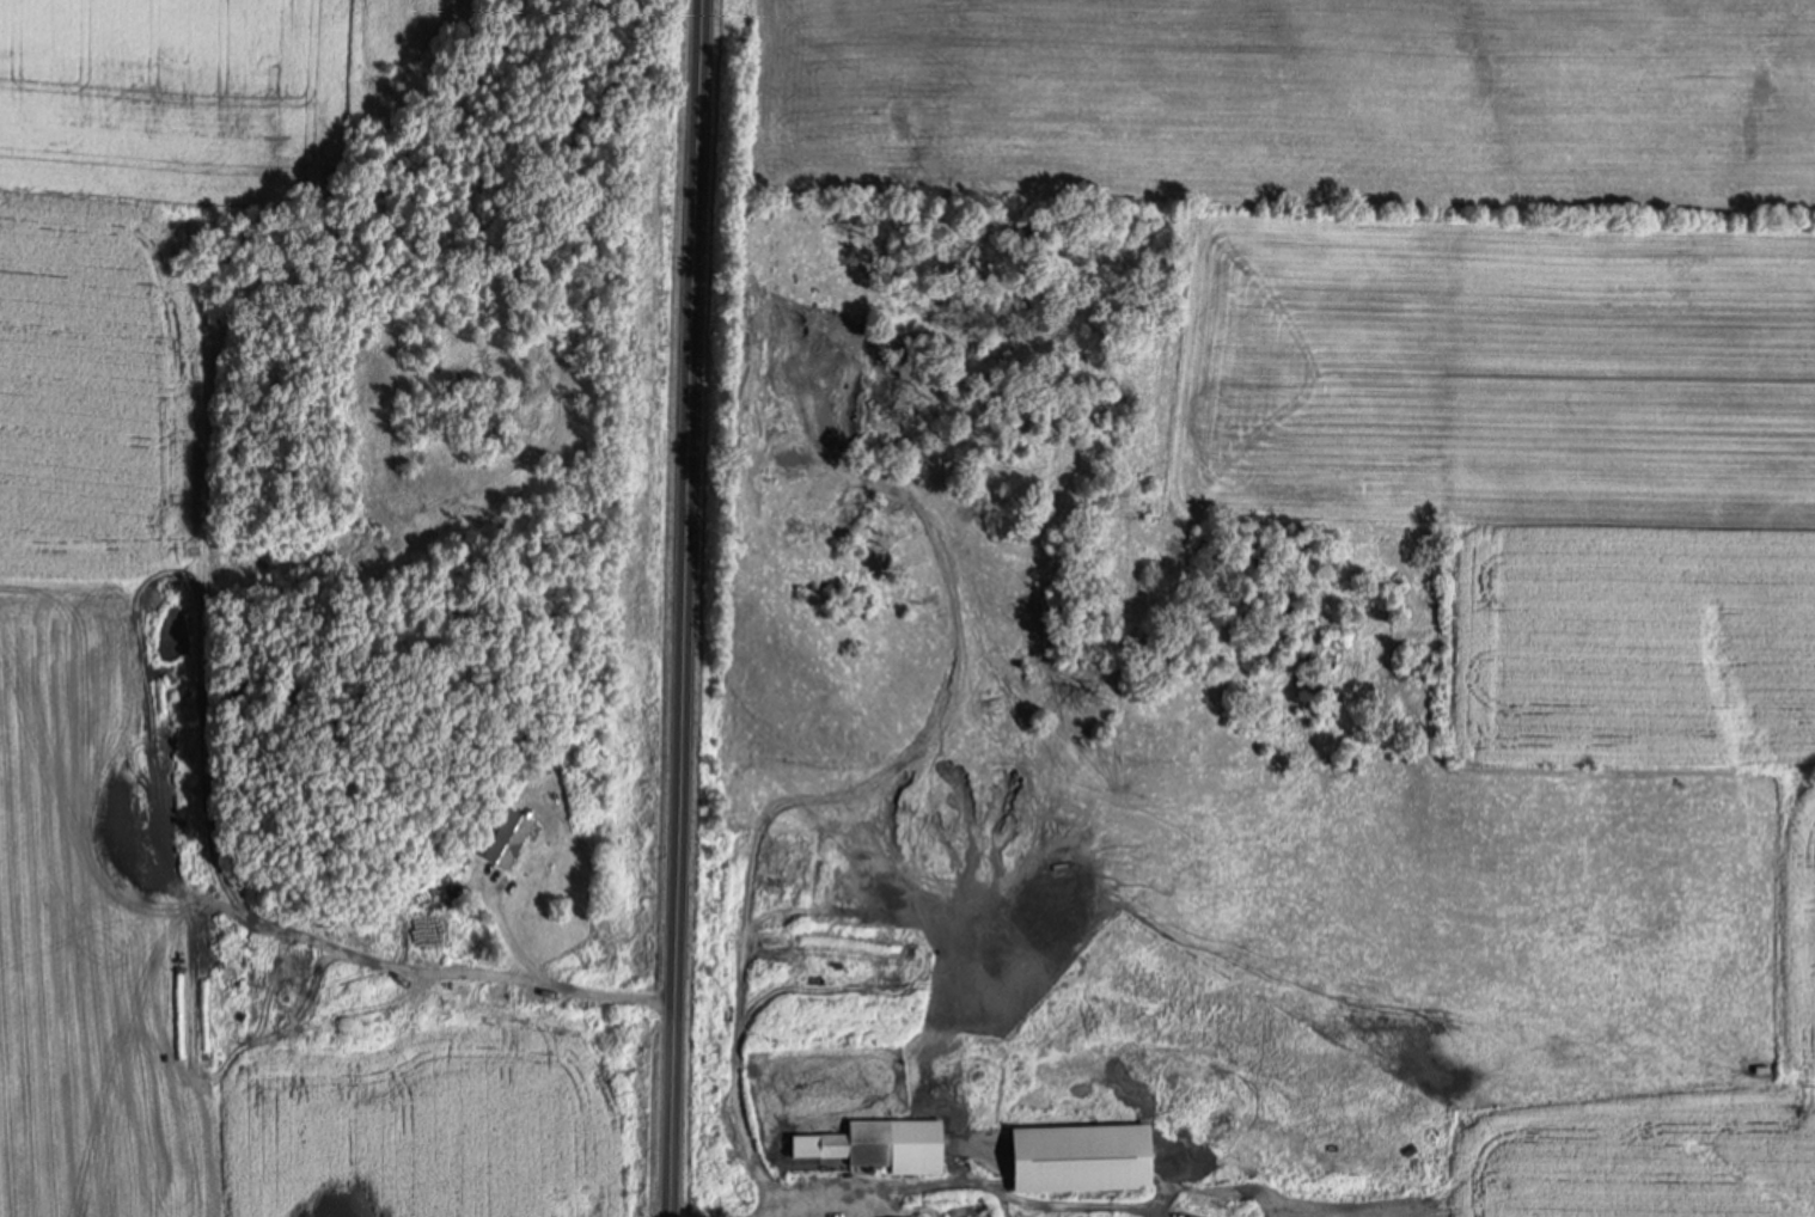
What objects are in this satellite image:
crop: (170, 92)
road: (683, 608)
crop: (110, 699)
building: (503, 837)
road: (558, 983)
crop: (392, 1080)
building: (875, 1144)
building: (1077, 1158)
crop: (592, 1160)

